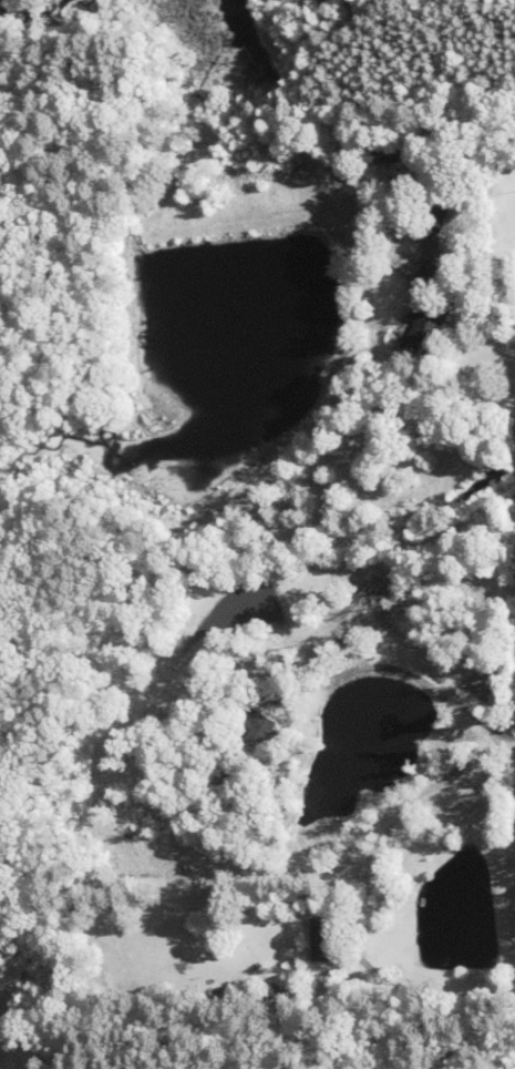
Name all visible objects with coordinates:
building: (394, 153)
building: (434, 217)
building: (423, 277)
building: (426, 328)
building: (262, 729)
building: (322, 939)

